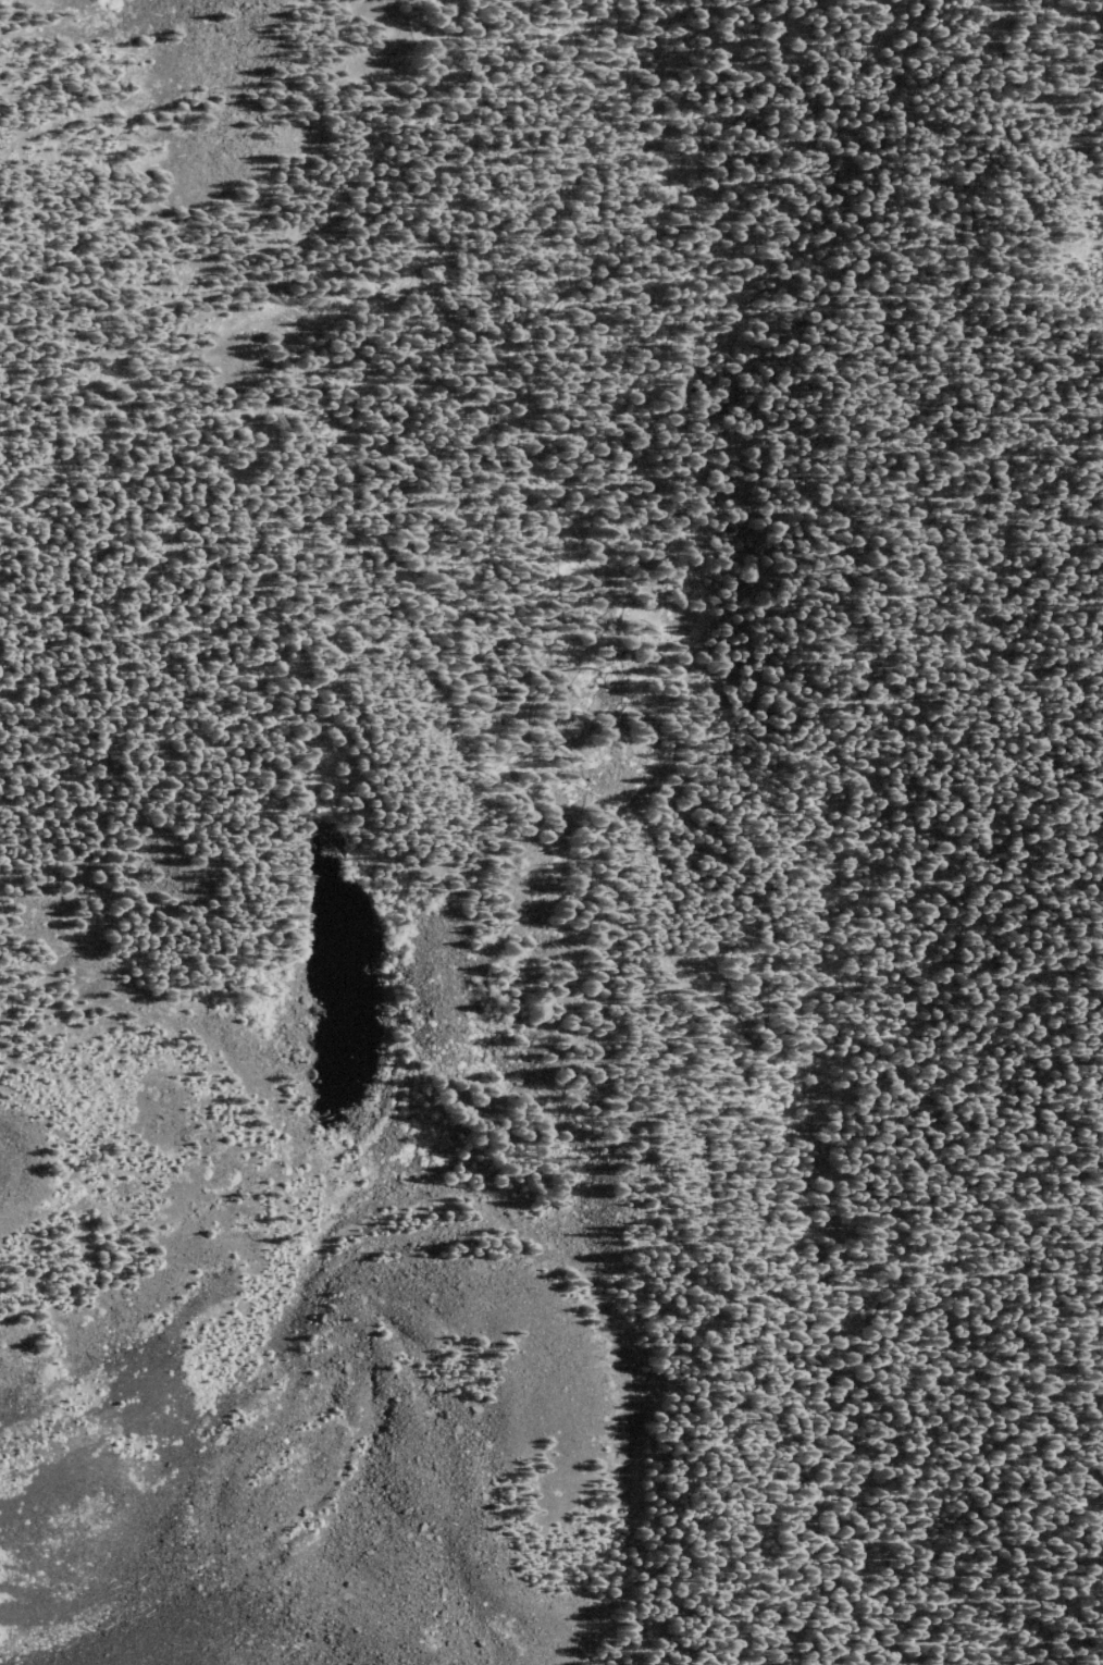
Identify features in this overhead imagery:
ski resort: (283, 21)
road: (761, 246)

